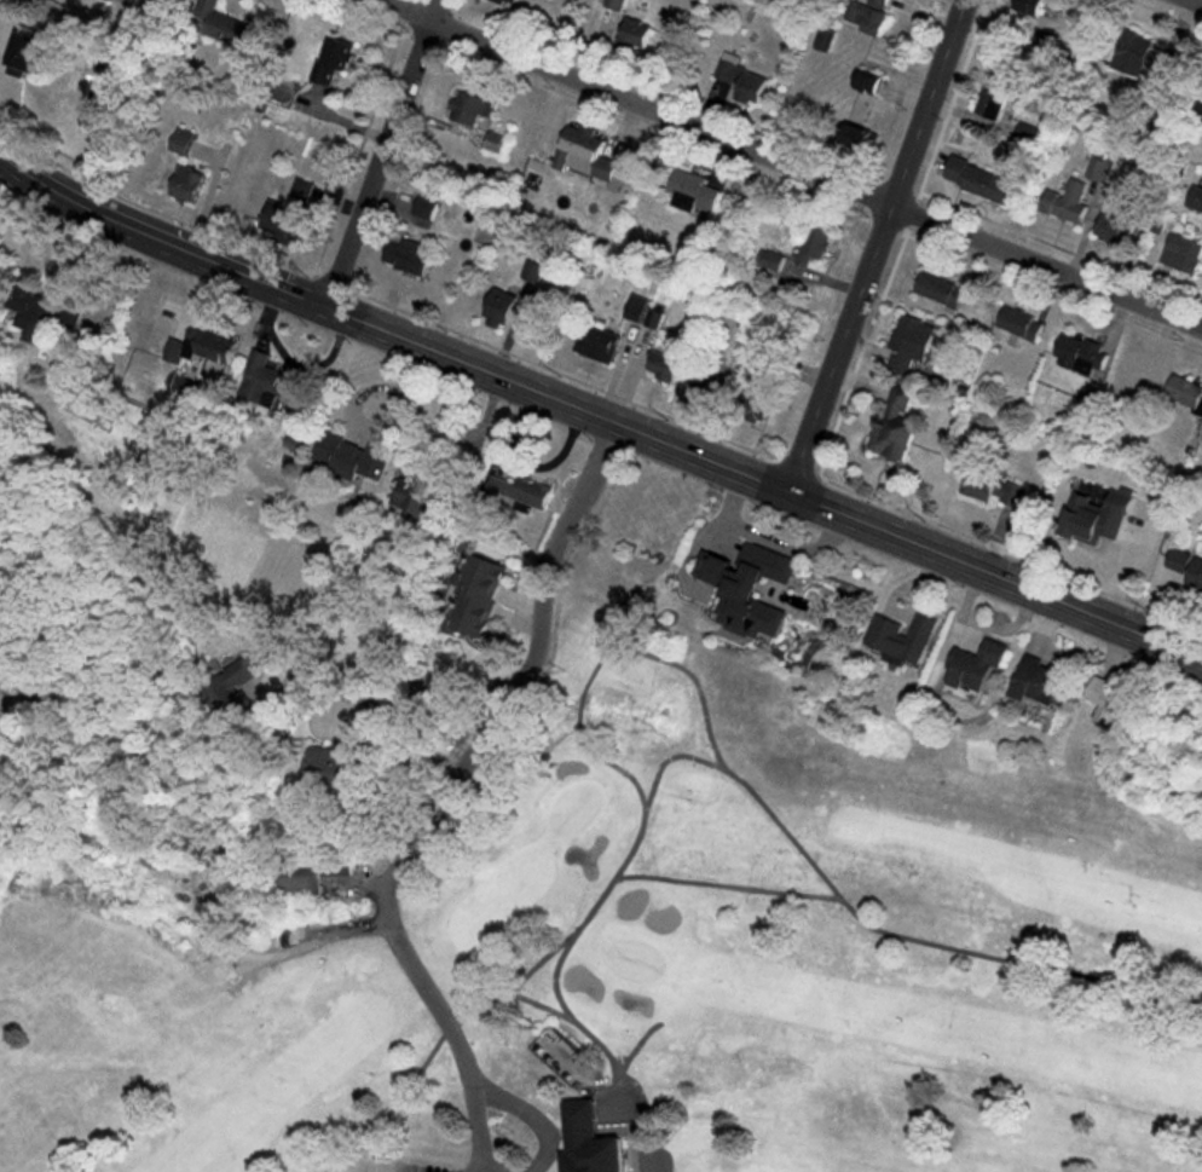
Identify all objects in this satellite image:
building: (514, 1)
building: (878, 2)
building: (614, 4)
building: (1030, 6)
building: (866, 16)
building: (226, 25)
building: (636, 33)
building: (30, 53)
building: (1142, 54)
building: (334, 60)
building: (742, 79)
building: (868, 80)
building: (993, 103)
building: (470, 108)
building: (1028, 133)
building: (859, 138)
building: (181, 140)
building: (496, 142)
building: (579, 150)
road: (378, 152)
road: (790, 162)
building: (1100, 167)
building: (611, 172)
building: (979, 179)
building: (189, 183)
building: (693, 191)
building: (1195, 197)
building: (1069, 202)
building: (424, 207)
building: (284, 221)
building: (1116, 231)
building: (814, 244)
road: (873, 244)
building: (1183, 253)
building: (409, 255)
building: (769, 261)
building: (533, 270)
building: (941, 289)
building: (502, 307)
building: (35, 311)
building: (642, 311)
building: (70, 313)
building: (1021, 323)
building: (911, 342)
building: (600, 343)
building: (201, 347)
building: (1081, 354)
road: (290, 362)
building: (664, 365)
building: (1134, 375)
building: (264, 381)
building: (710, 385)
building: (1185, 392)
building: (756, 404)
road: (596, 414)
building: (895, 426)
road: (378, 427)
building: (354, 455)
road: (451, 478)
building: (993, 489)
building: (521, 491)
building: (1096, 516)
building: (1178, 559)
building: (1196, 573)
building: (747, 588)
building: (476, 593)
building: (902, 637)
building: (977, 664)
building: (1038, 681)
road: (382, 699)
building: (1114, 703)
building: (339, 757)
road: (444, 797)
building: (191, 833)
building: (297, 876)
park: (655, 963)
road: (533, 1113)
building: (589, 1142)

